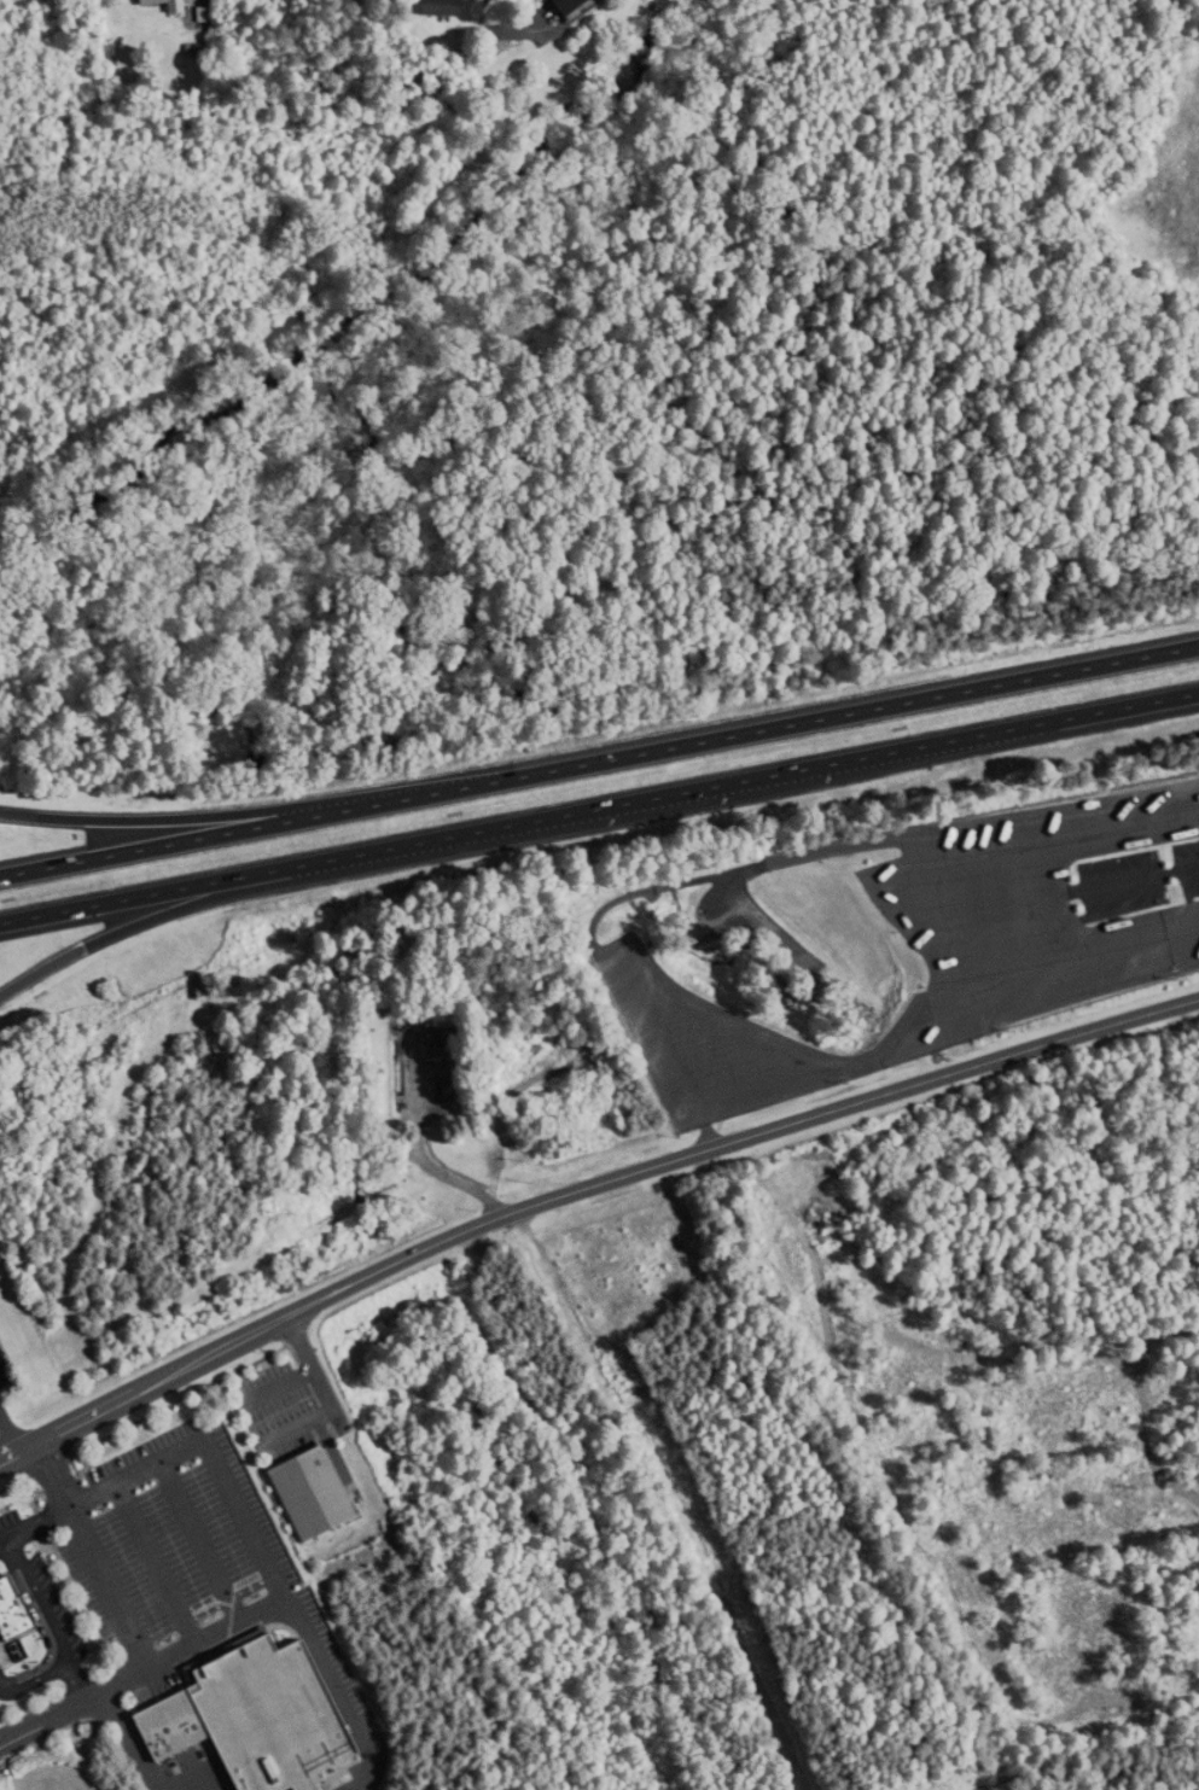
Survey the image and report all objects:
building: (155, 4)
building: (554, 6)
building: (426, 7)
road: (599, 760)
road: (599, 807)
road: (152, 820)
road: (1069, 845)
road: (169, 913)
road: (1123, 938)
wastewater plant: (435, 1046)
road: (857, 1065)
road: (586, 1193)
road: (314, 1368)
road: (277, 1382)
road: (298, 1424)
road: (50, 1473)
building: (298, 1491)
road: (671, 1498)
road: (197, 1539)
road: (261, 1556)
road: (153, 1562)
road: (107, 1586)
road: (39, 1599)
building: (8, 1613)
road: (36, 1679)
road: (76, 1679)
road: (1, 1690)
road: (337, 1690)
building: (250, 1716)
road: (129, 1742)
road: (972, 1788)
road: (979, 1788)

